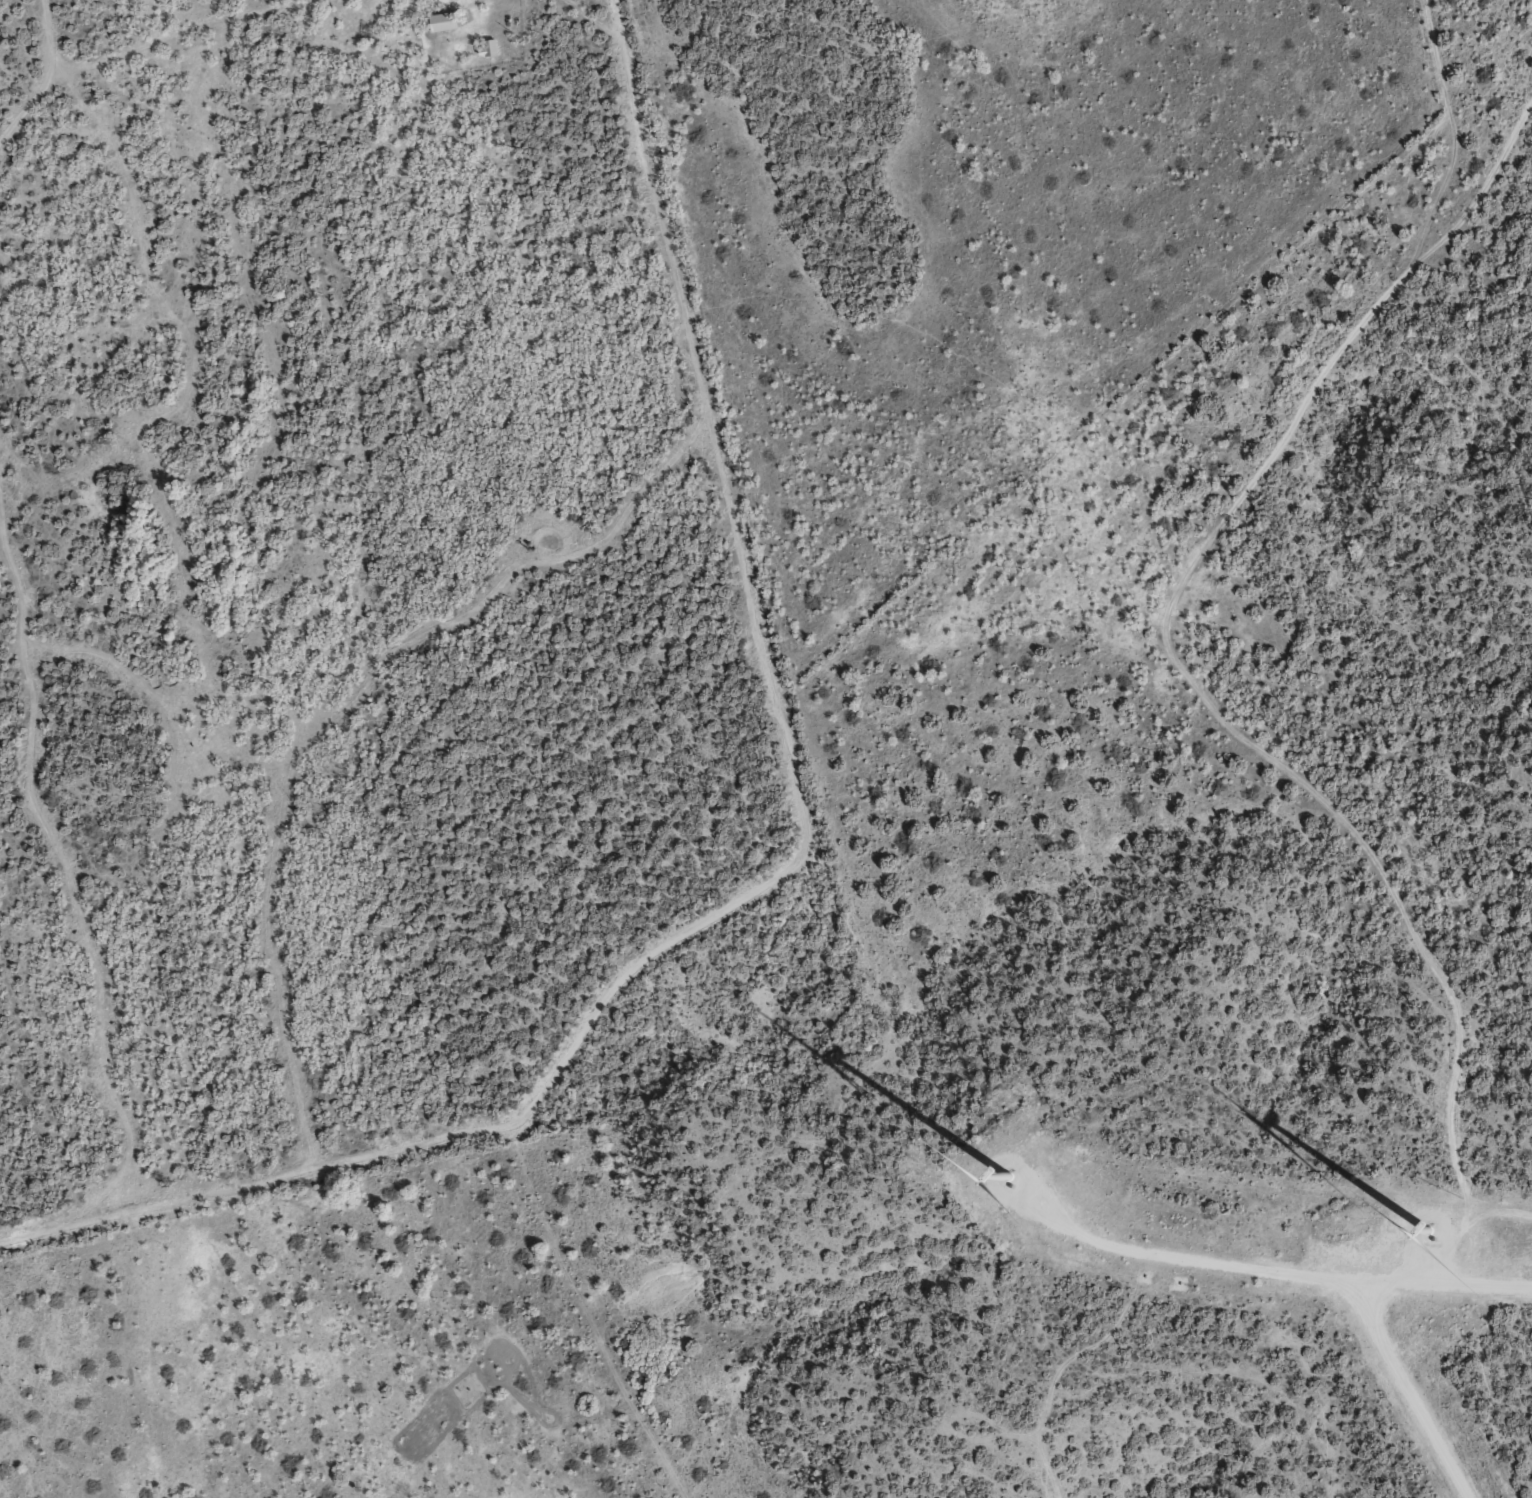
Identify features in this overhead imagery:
building: (444, 21)
road: (594, 22)
building: (488, 48)
road: (701, 395)
road: (1194, 662)
road: (459, 1120)
wind turbine: (1013, 1182)
wind turbine: (1410, 1223)

